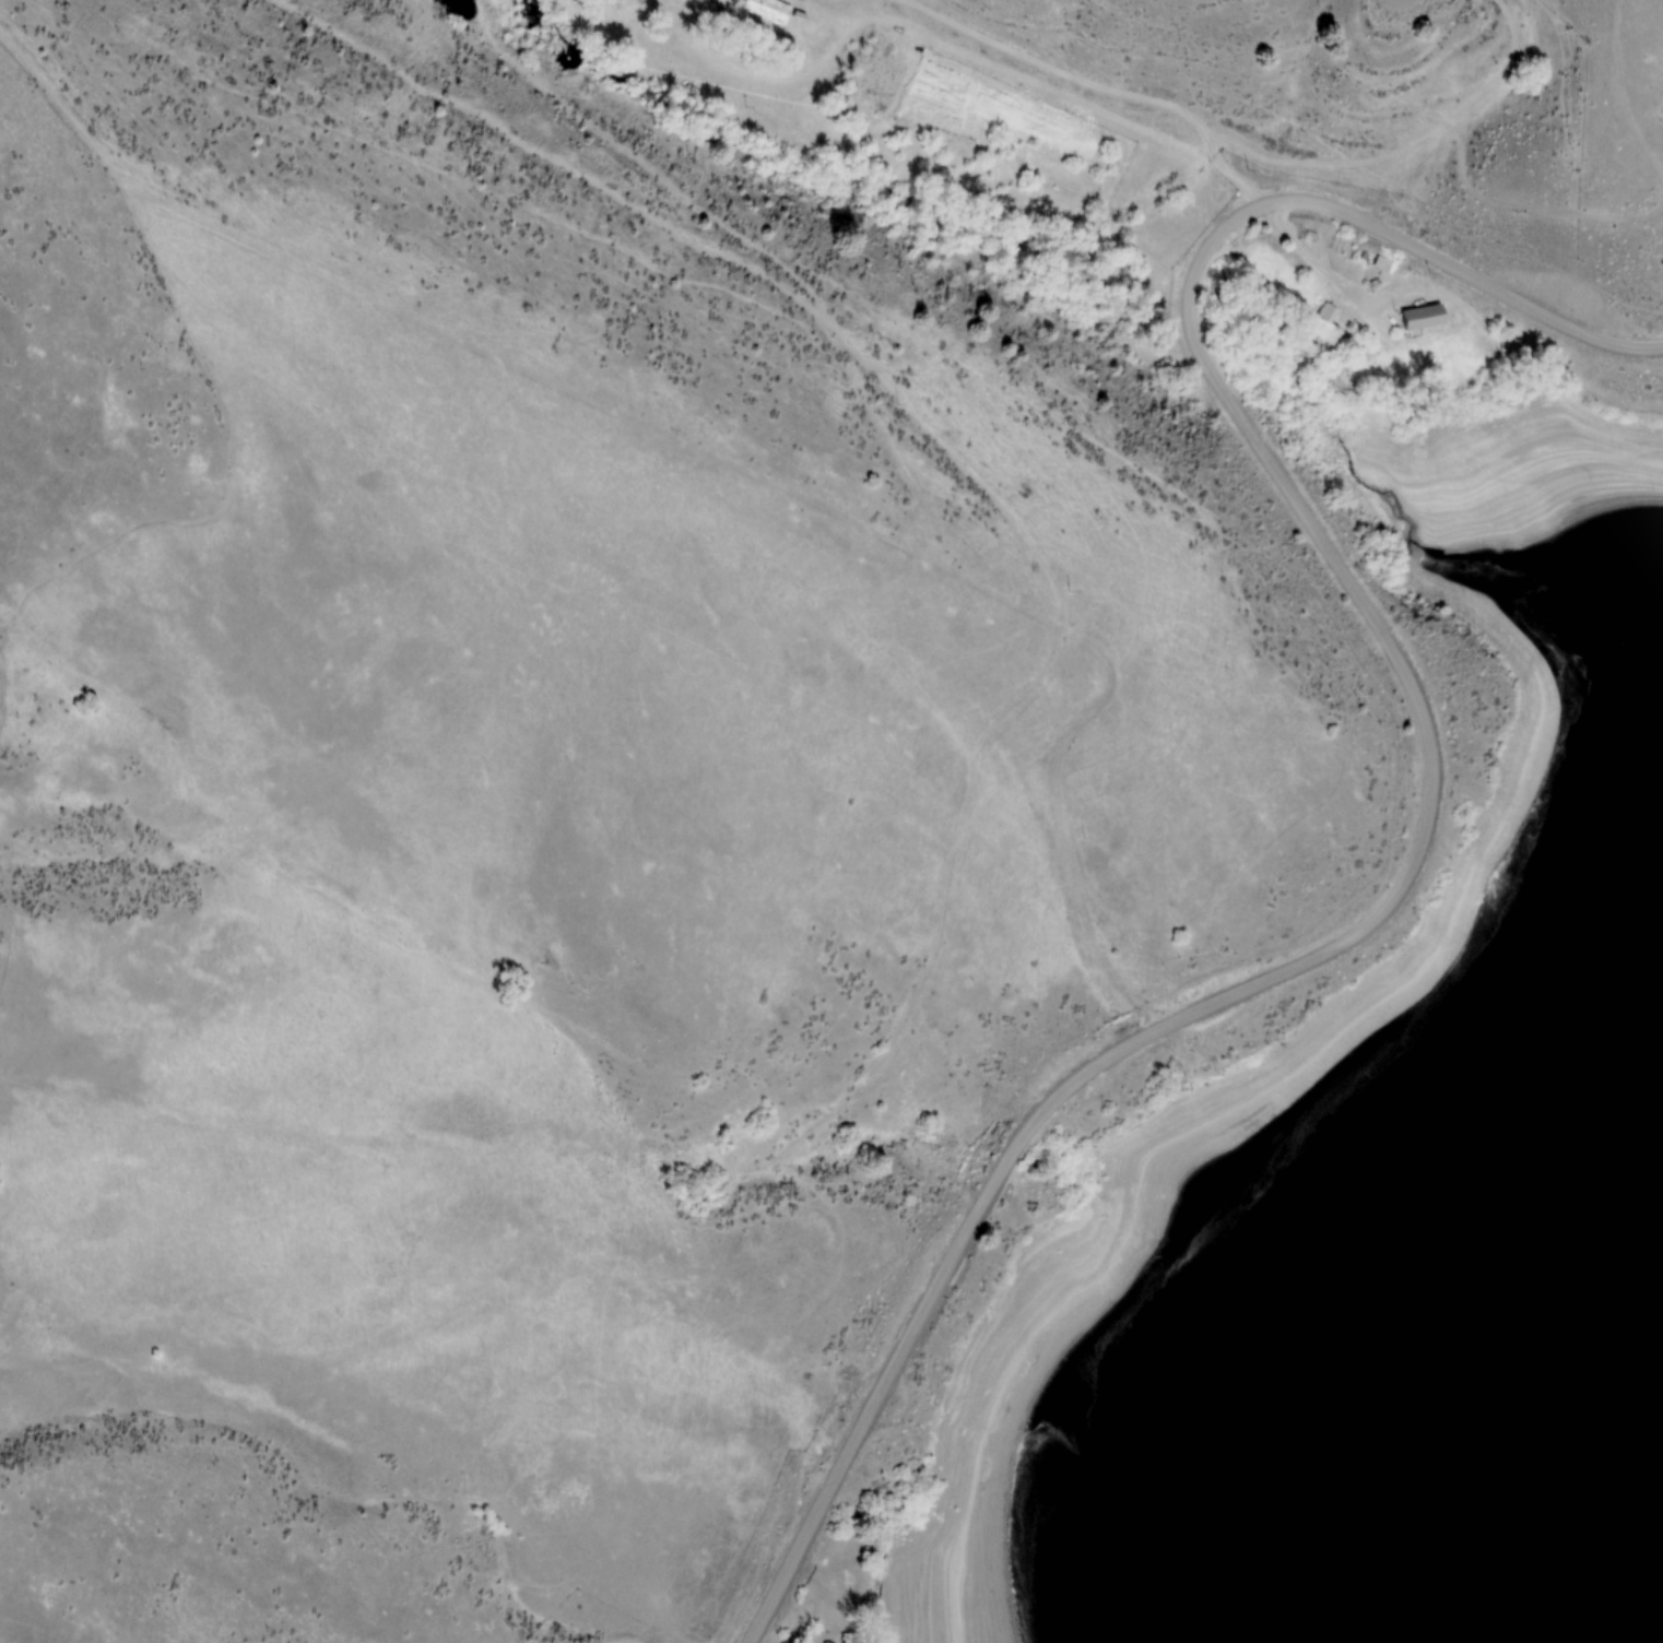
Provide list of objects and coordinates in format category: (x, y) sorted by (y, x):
building: (767, 10)
road: (1092, 86)
road: (1314, 259)
road: (1464, 271)
building: (1420, 316)
building: (1324, 324)
road: (1302, 960)
road: (814, 1579)
building: (848, 1640)
building: (824, 1642)

